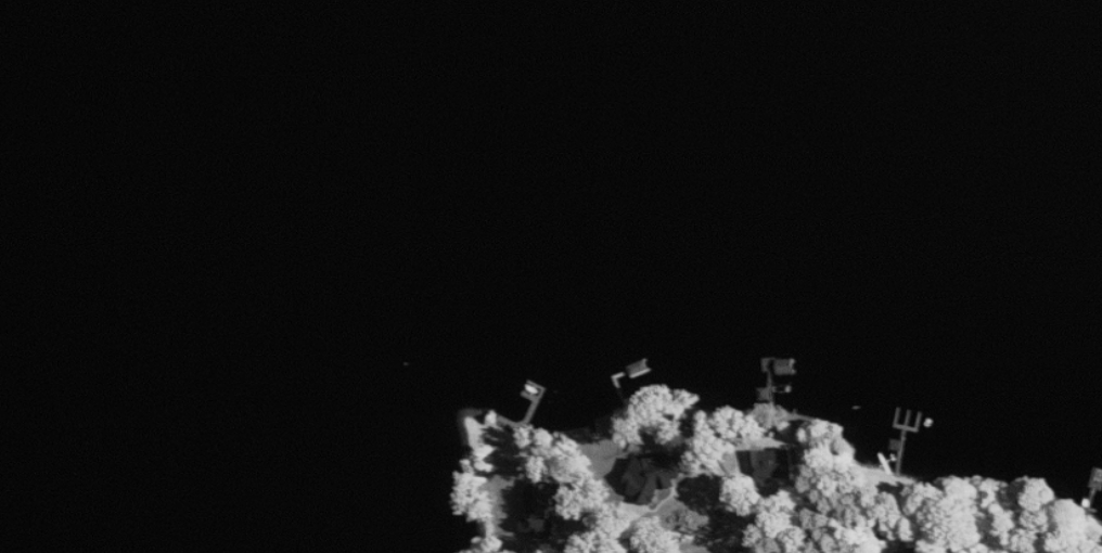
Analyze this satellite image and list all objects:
building: (551, 506)
building: (919, 550)
building: (894, 552)

